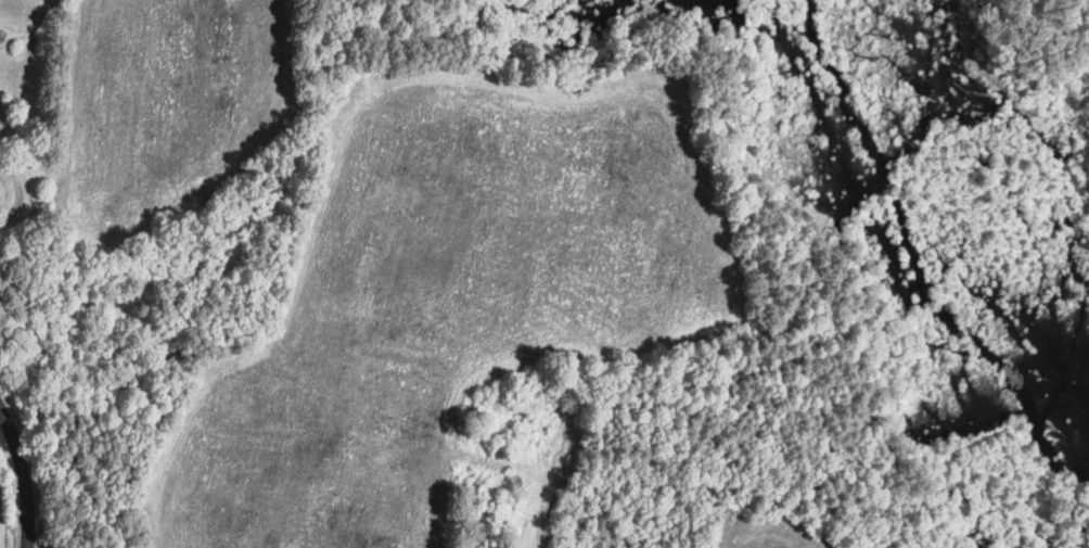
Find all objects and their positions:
crop: (17, 12)
road: (23, 69)
crop: (166, 111)
road: (17, 192)
crop: (447, 294)
road: (22, 476)
crop: (541, 488)
crop: (768, 527)
road: (36, 544)

